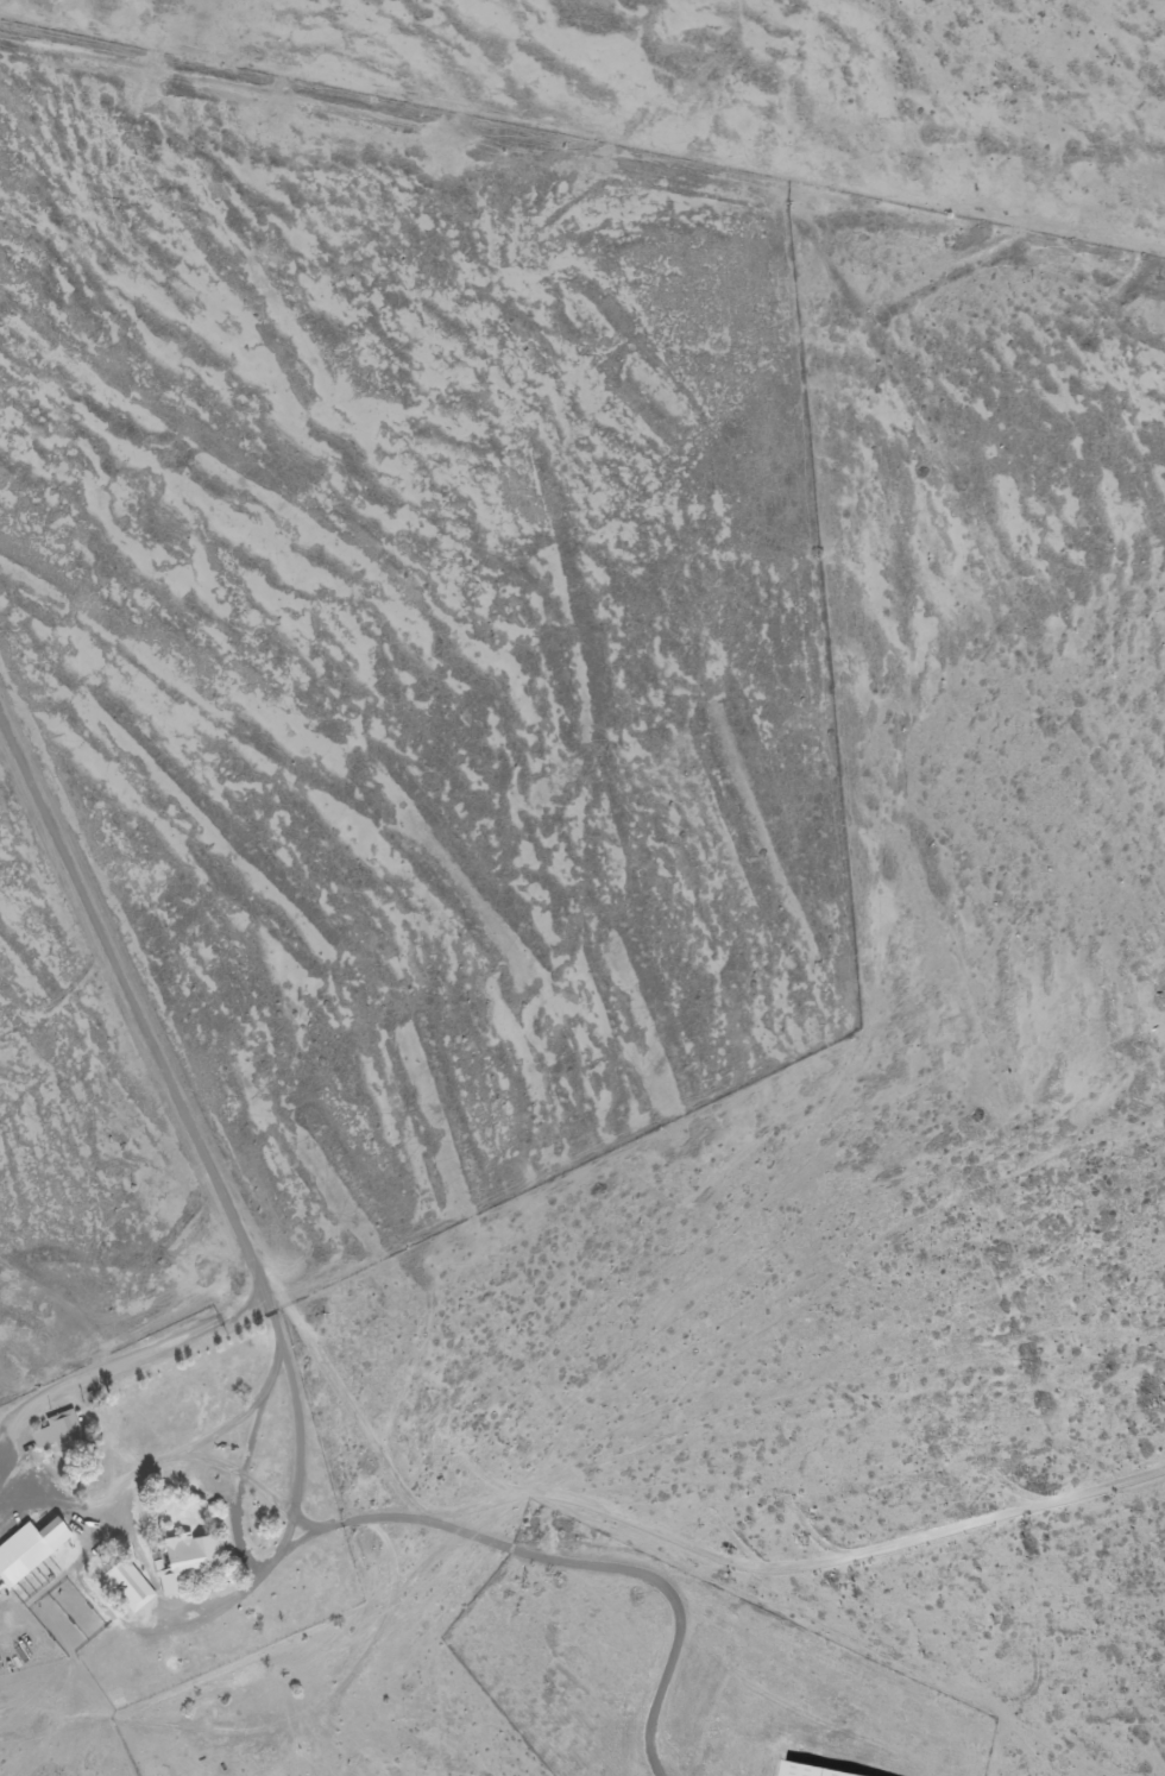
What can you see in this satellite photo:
road: (134, 1001)
building: (58, 1431)
building: (27, 1549)
building: (181, 1561)
building: (126, 1586)
airport: (685, 1671)
road: (321, 1698)
building: (844, 1774)

